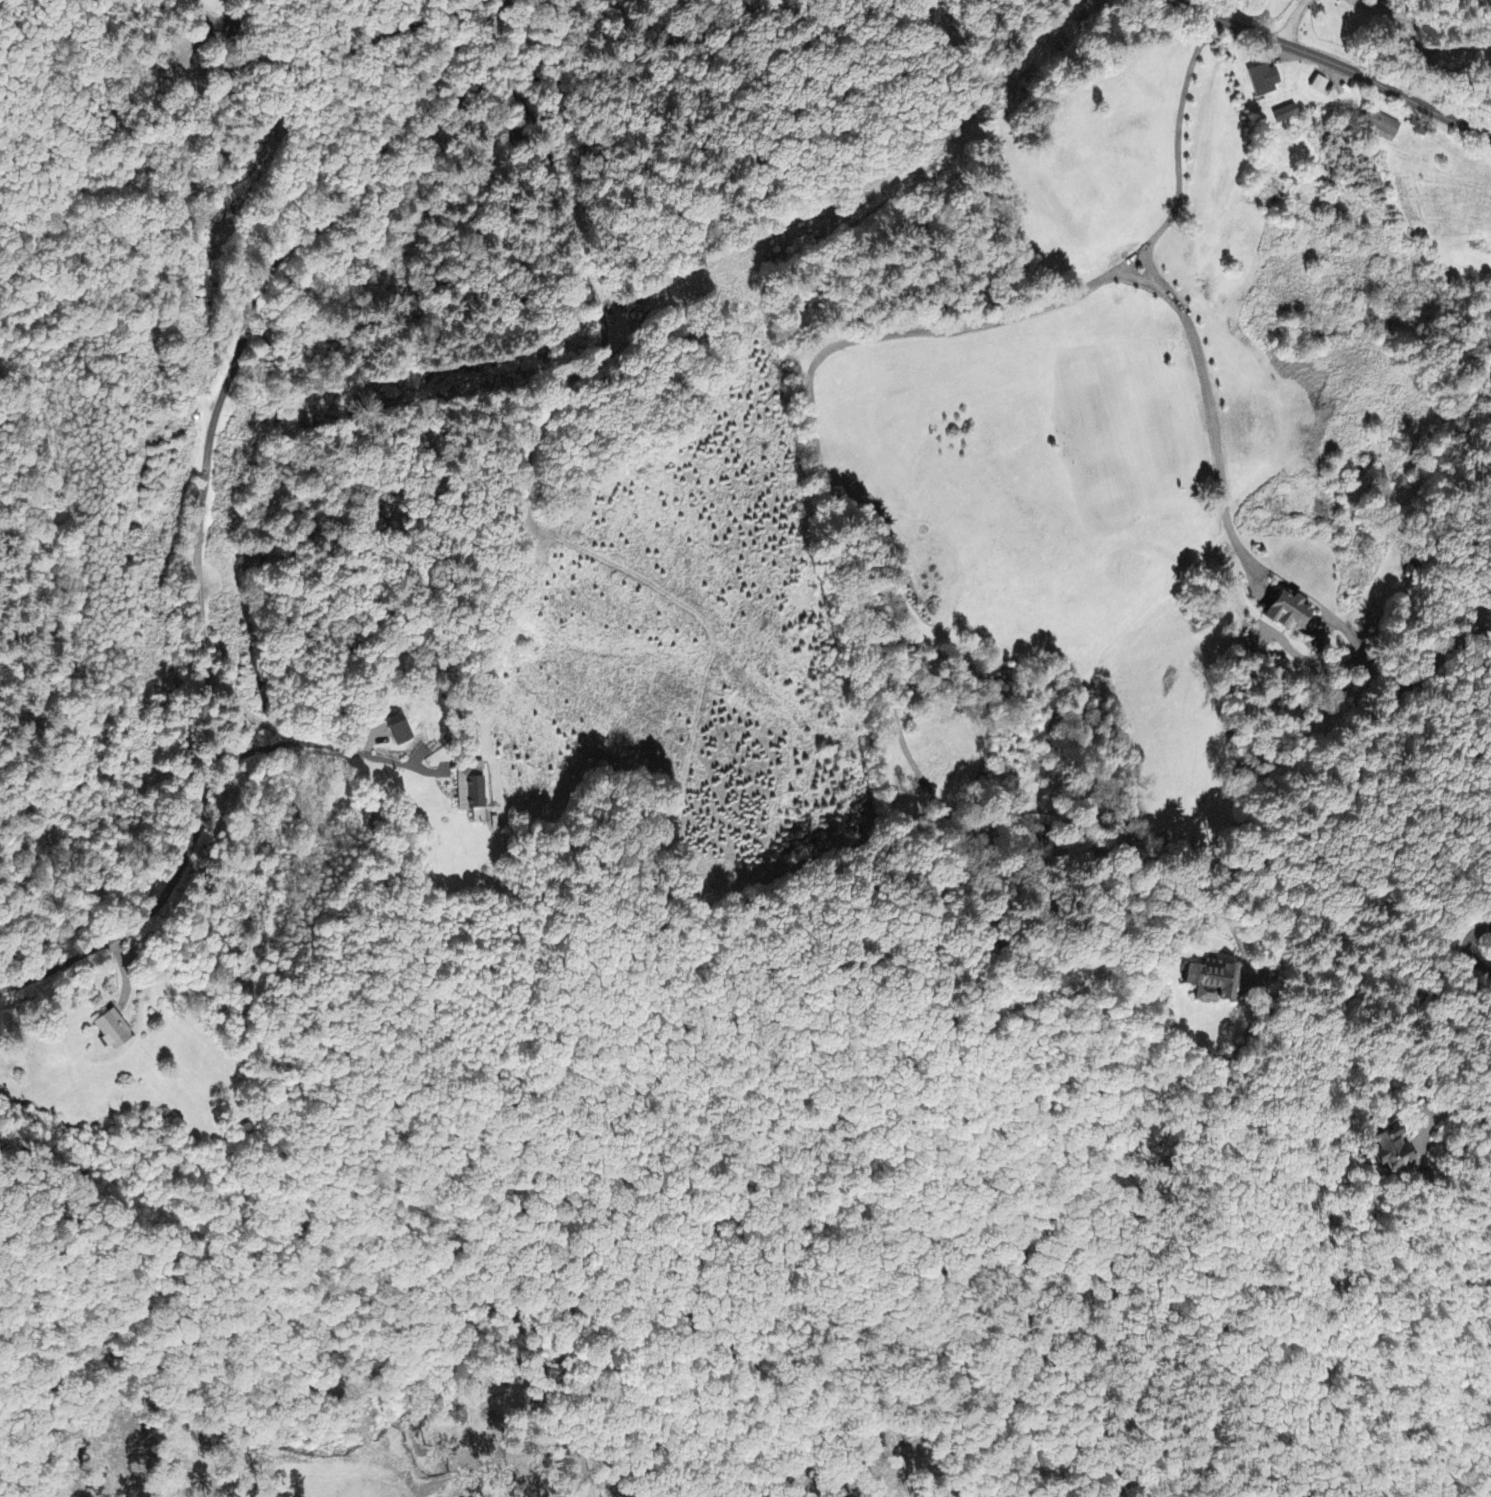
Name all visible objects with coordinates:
road: (1295, 23)
road: (1424, 27)
road: (1331, 65)
building: (1264, 82)
building: (1289, 116)
building: (1381, 127)
road: (1172, 294)
road: (557, 333)
road: (207, 496)
building: (1295, 613)
road: (279, 642)
building: (404, 735)
building: (474, 793)
road: (1471, 935)
building: (1217, 982)
building: (115, 1031)
building: (1401, 1150)

